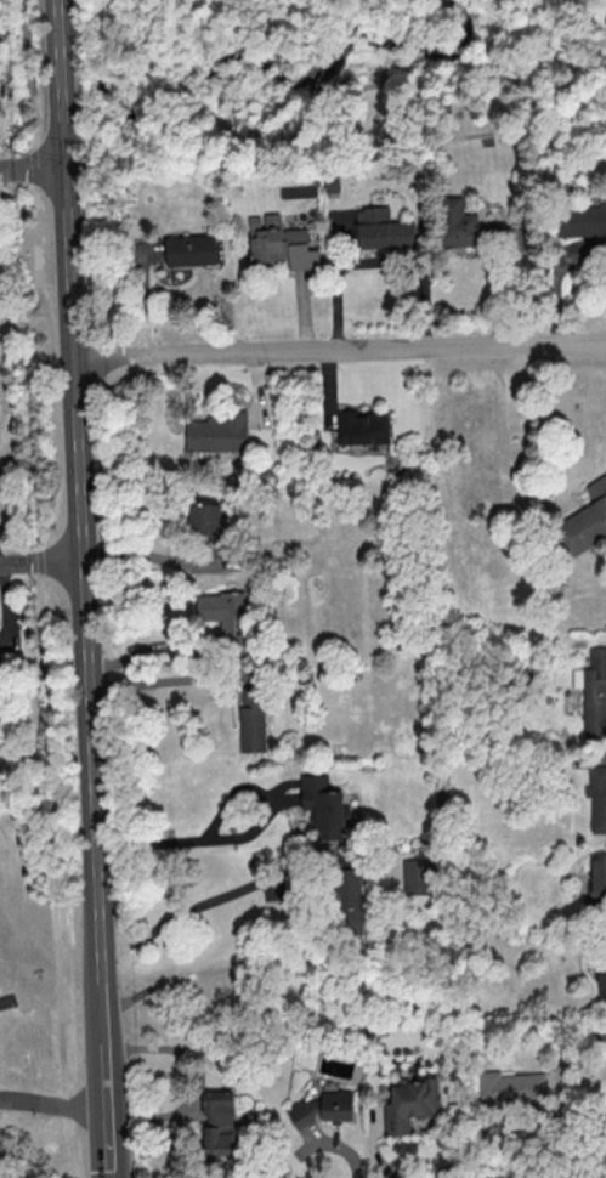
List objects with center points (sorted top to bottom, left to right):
road: (22, 5)
road: (26, 52)
road: (32, 166)
building: (332, 183)
building: (583, 220)
building: (458, 223)
building: (384, 230)
building: (281, 243)
building: (191, 250)
road: (381, 262)
road: (339, 345)
building: (362, 426)
building: (217, 432)
building: (205, 521)
road: (81, 522)
building: (584, 522)
road: (41, 560)
building: (225, 615)
road: (43, 633)
road: (174, 681)
building: (593, 692)
building: (251, 718)
building: (596, 797)
building: (323, 808)
road: (242, 832)
building: (597, 874)
building: (414, 876)
road: (216, 899)
building: (347, 902)
building: (601, 981)
road: (4, 1003)
building: (511, 1089)
building: (409, 1103)
road: (55, 1104)
building: (335, 1105)
road: (111, 1111)
building: (302, 1111)
building: (217, 1125)

